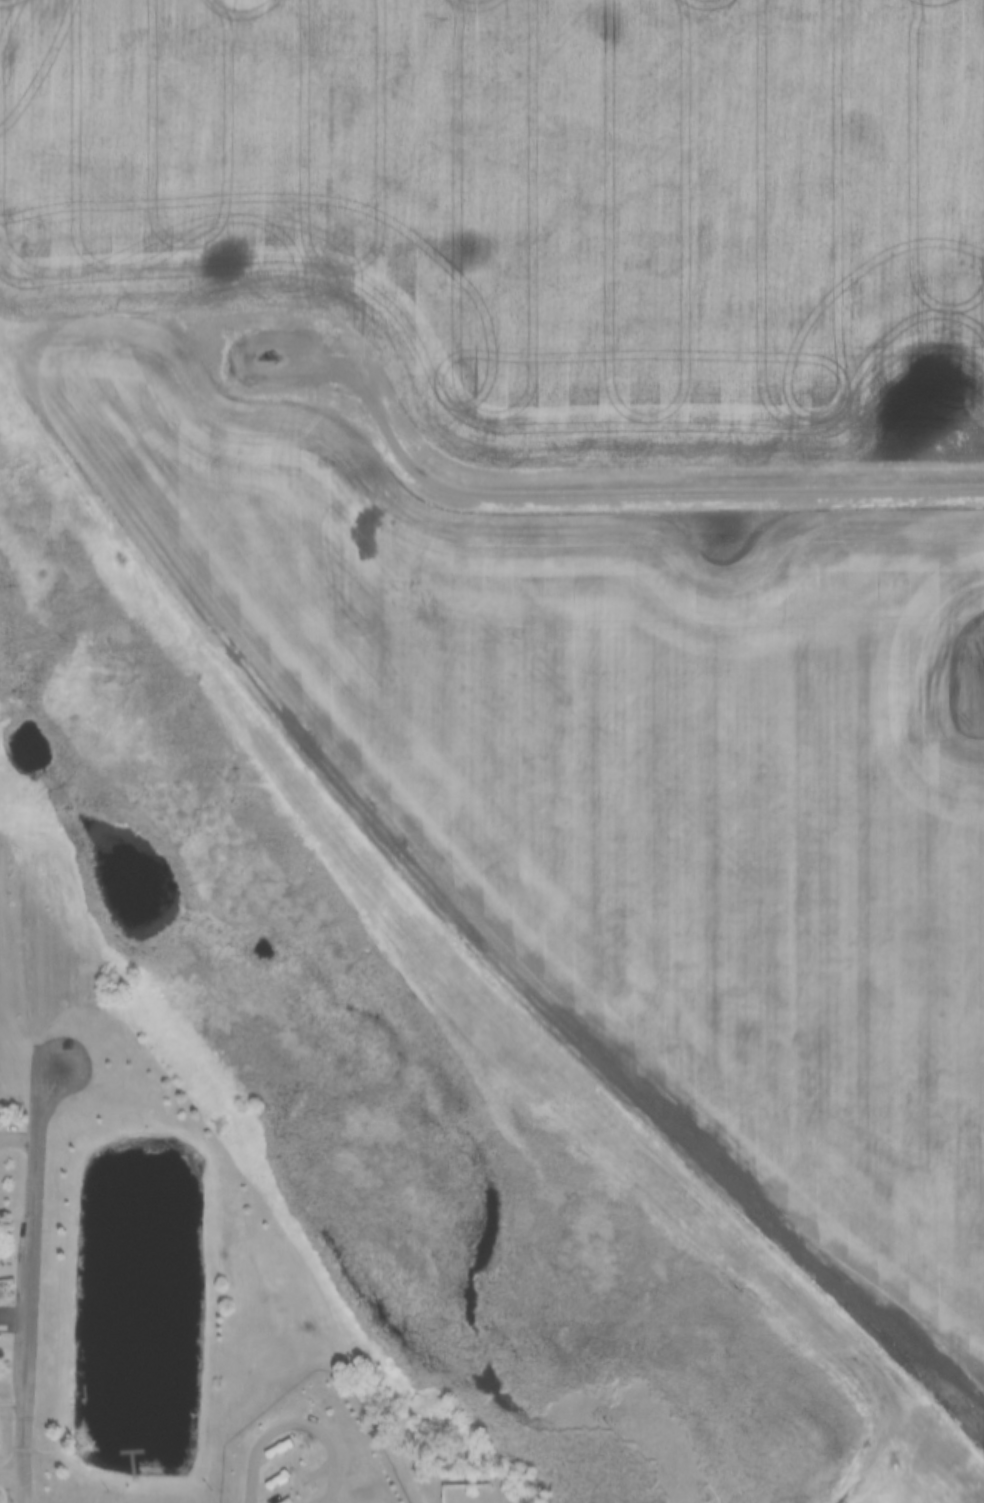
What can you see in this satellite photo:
road: (588, 493)
road: (15, 1039)
road: (30, 1285)
pier: (120, 1447)
building: (274, 1450)
pier: (120, 1455)
road: (10, 1472)
building: (272, 1482)
building: (114, 1500)
building: (280, 1502)

